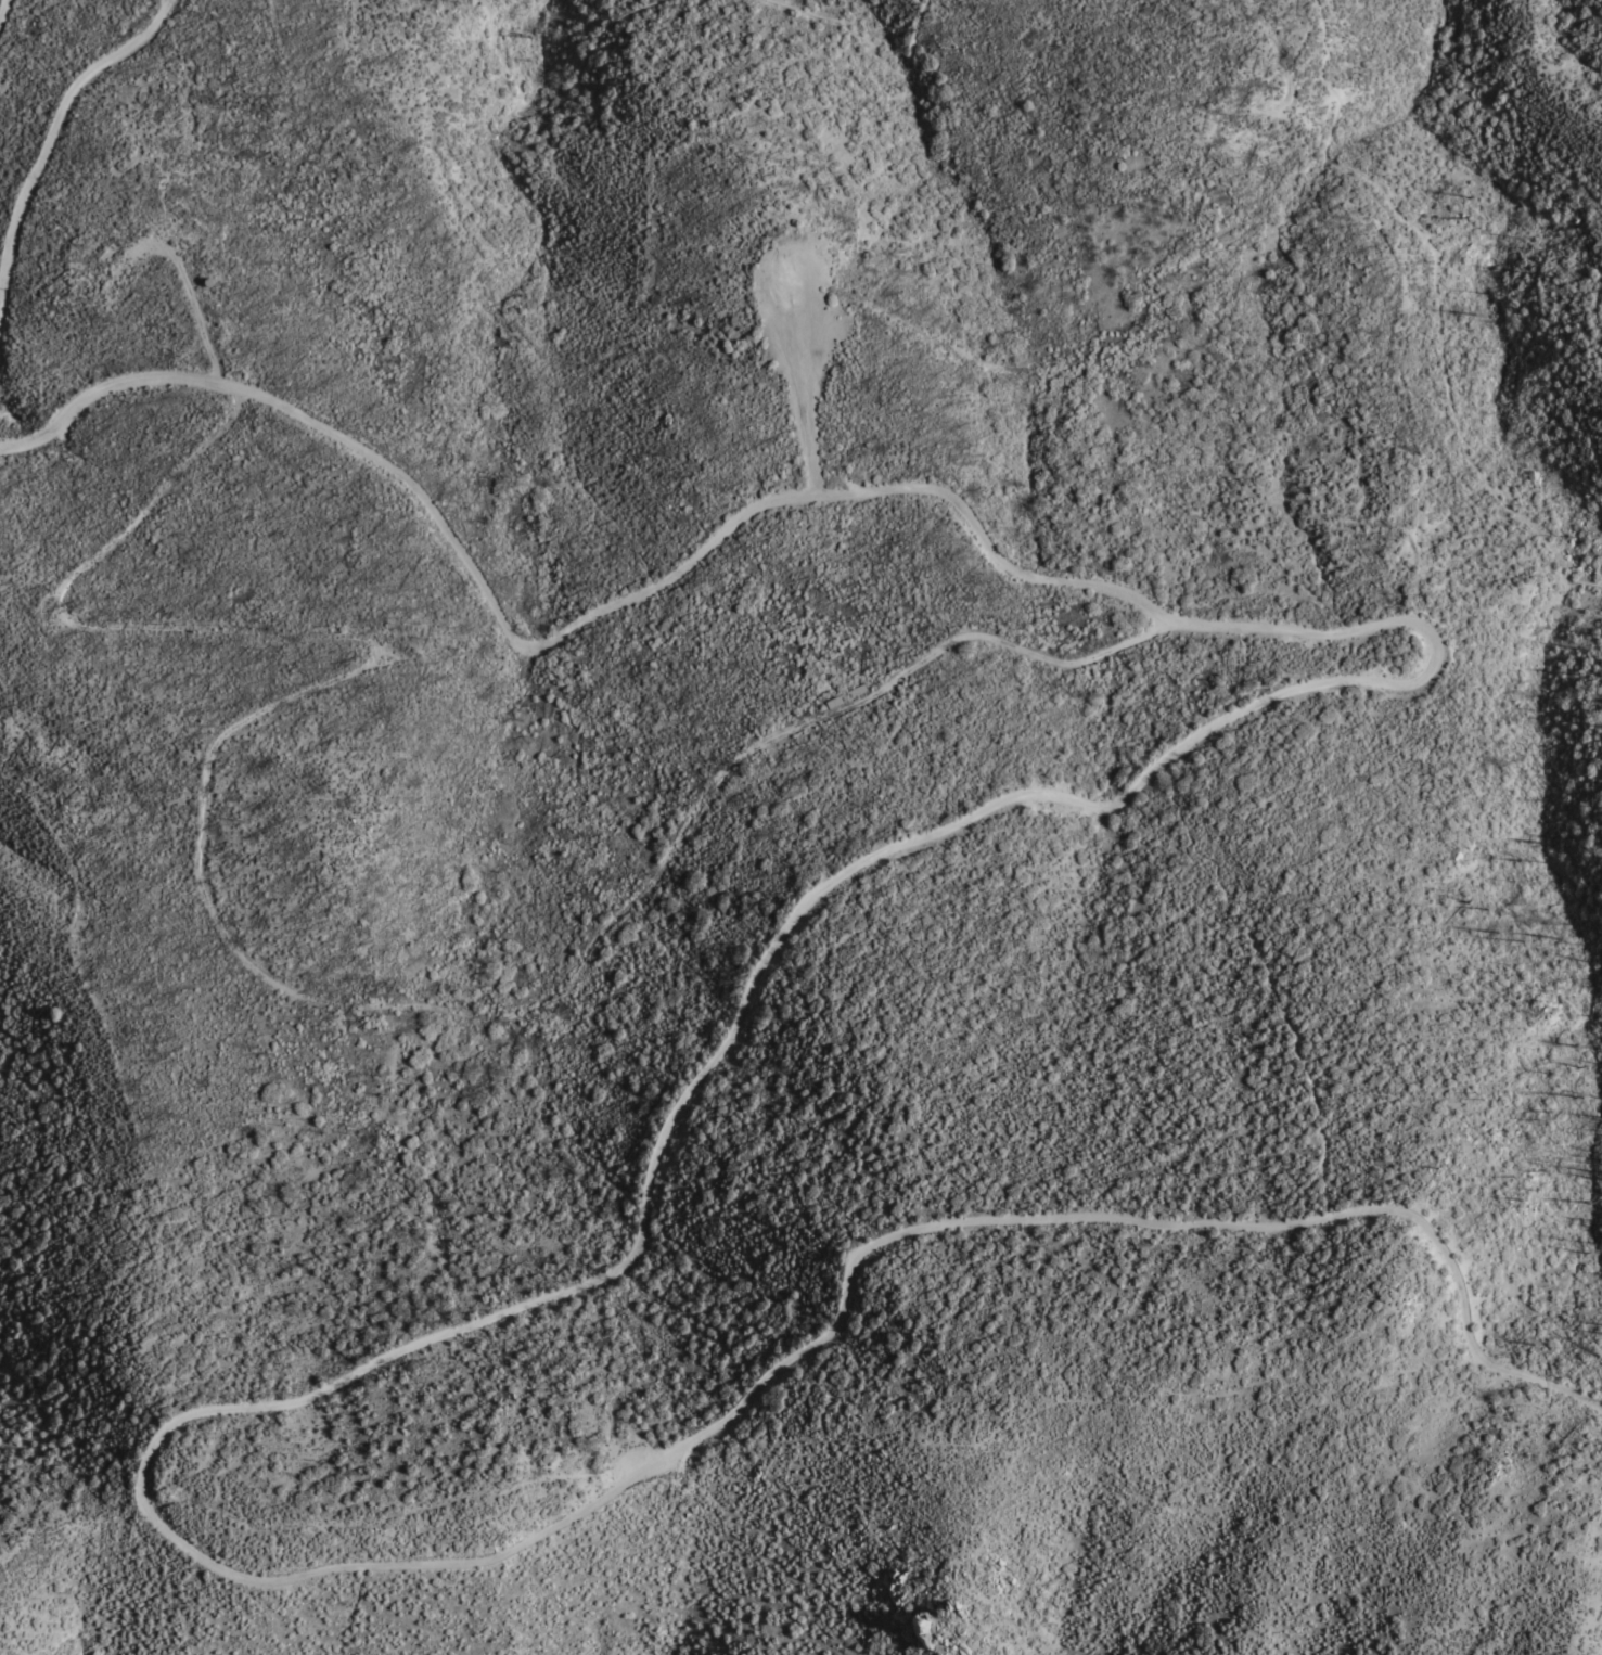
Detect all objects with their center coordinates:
road: (2, 8)
road: (876, 51)
road: (551, 97)
power tower: (294, 110)
road: (185, 130)
road: (51, 136)
road: (1152, 281)
road: (1441, 297)
helipad: (804, 302)
road: (195, 315)
road: (811, 423)
road: (258, 976)
road: (721, 1044)
road: (541, 1245)

